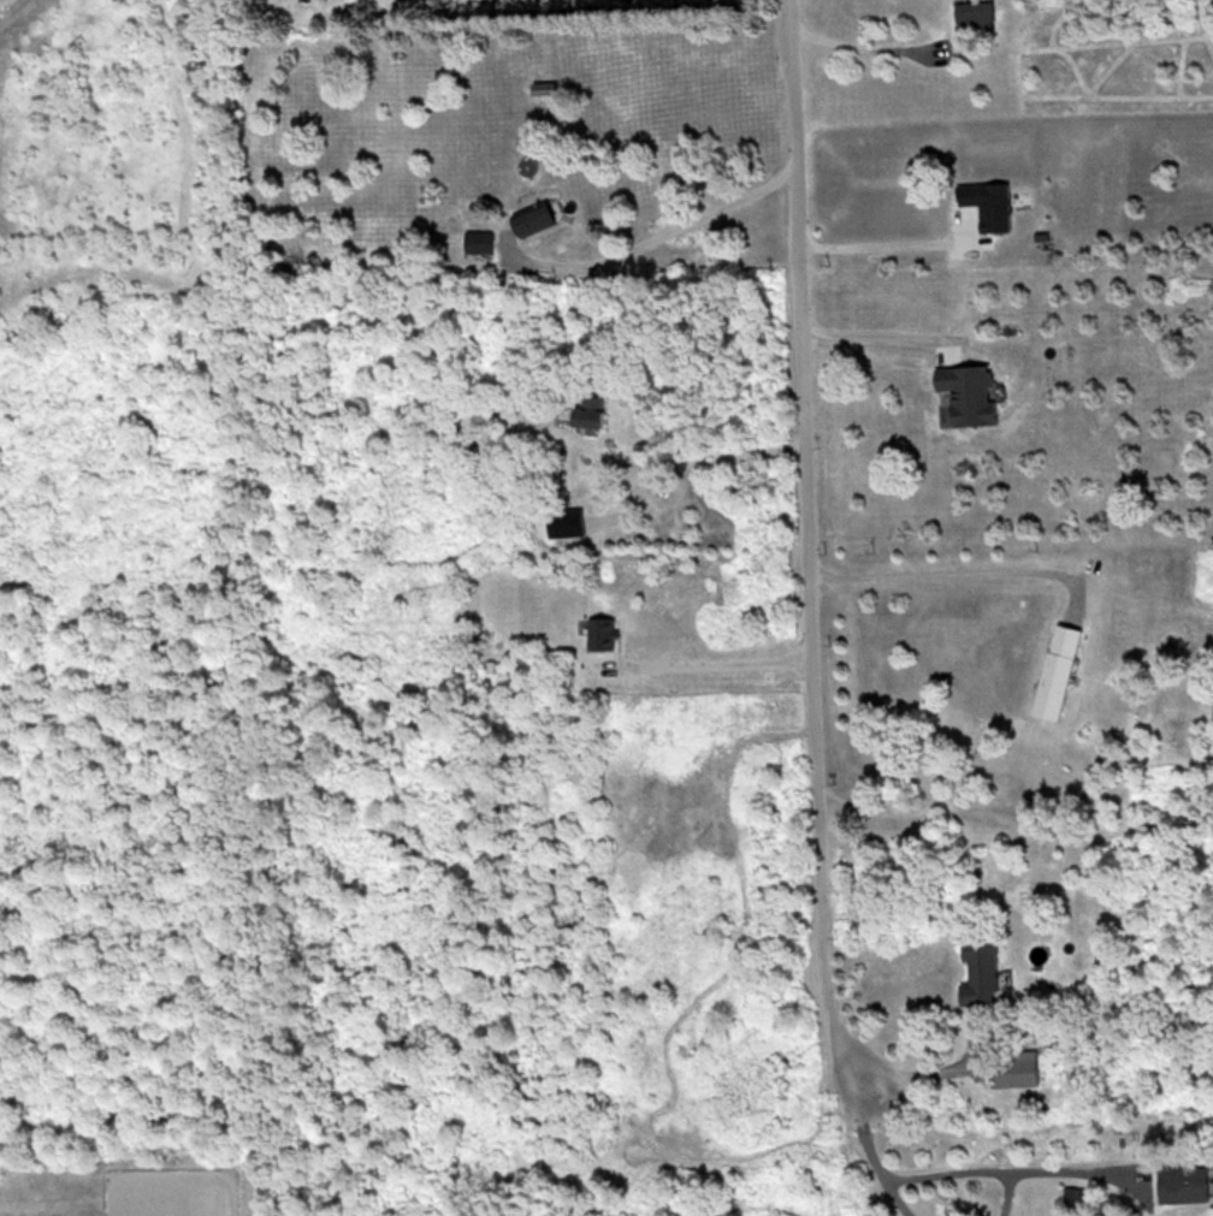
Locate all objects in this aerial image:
building: (974, 10)
road: (866, 40)
building: (542, 85)
building: (987, 201)
building: (532, 219)
road: (662, 227)
building: (479, 239)
road: (887, 243)
road: (804, 309)
road: (878, 319)
building: (588, 411)
building: (564, 521)
road: (942, 569)
road: (710, 648)
building: (1057, 670)
road: (819, 769)
building: (981, 968)
road: (939, 1069)
road: (957, 1171)
building: (1182, 1181)
road: (1007, 1192)
road: (900, 1196)

